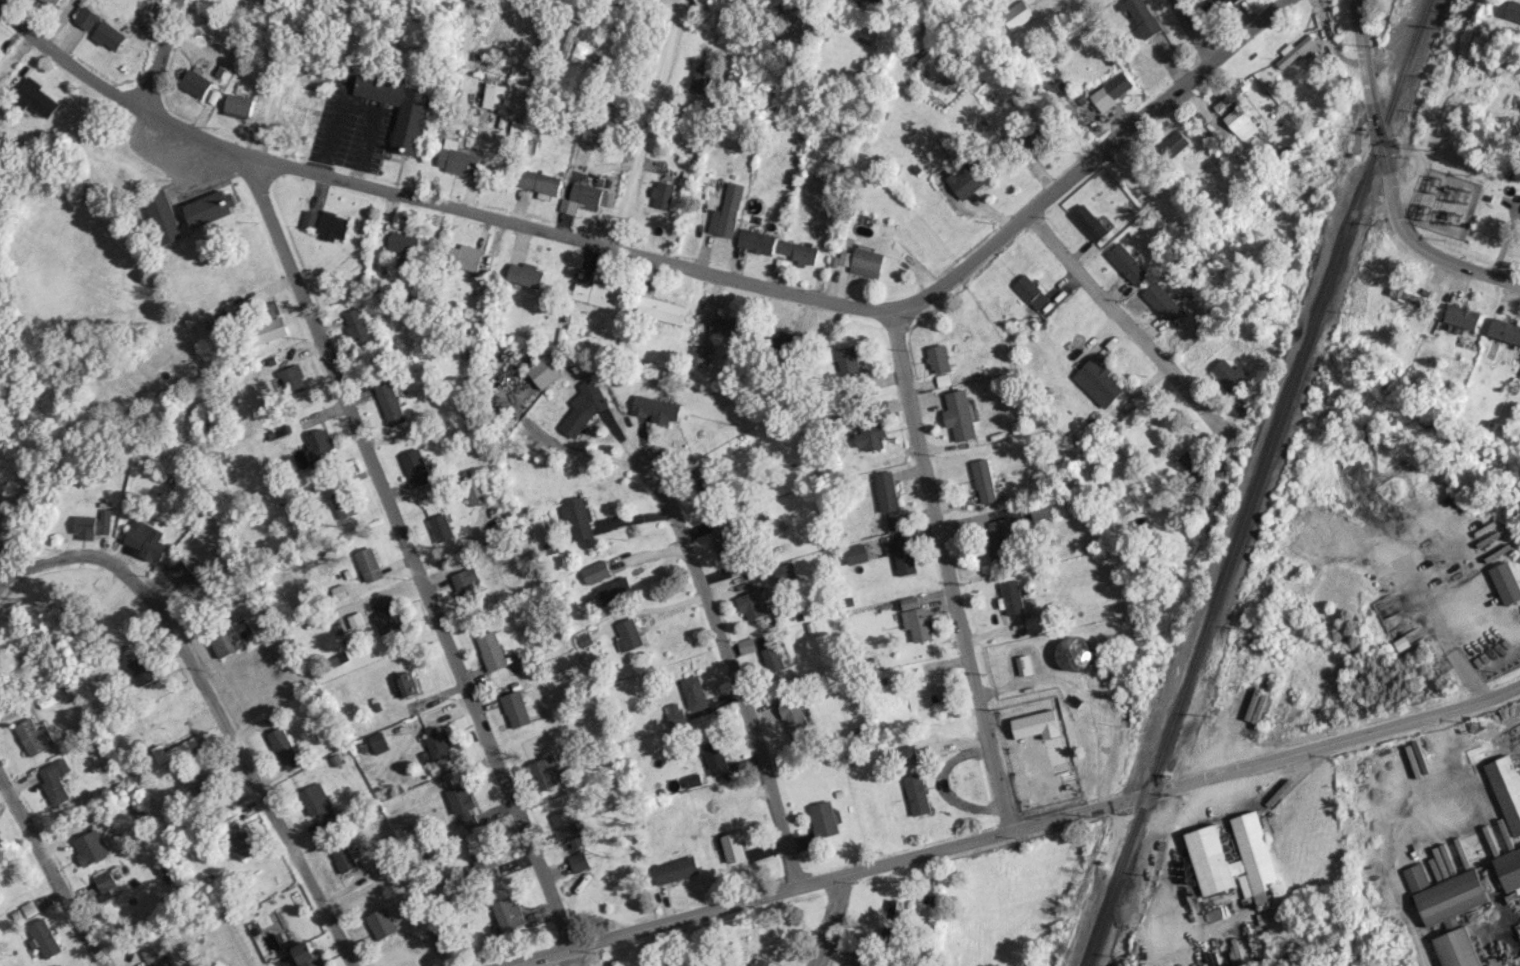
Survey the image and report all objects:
building: (877, 0)
building: (52, 2)
building: (1214, 6)
building: (1513, 10)
building: (1017, 15)
building: (1141, 16)
building: (87, 17)
road: (1193, 30)
building: (109, 35)
building: (1298, 51)
building: (578, 53)
road: (160, 56)
building: (224, 56)
road: (1365, 68)
building: (701, 79)
building: (195, 82)
building: (311, 83)
building: (1111, 91)
building: (1230, 94)
road: (118, 95)
building: (494, 96)
building: (38, 98)
building: (238, 105)
building: (398, 108)
building: (289, 117)
building: (1240, 122)
road: (645, 124)
building: (1038, 138)
building: (1174, 143)
building: (457, 158)
building: (969, 177)
building: (539, 181)
building: (663, 194)
building: (582, 197)
building: (210, 207)
building: (727, 211)
building: (164, 216)
building: (309, 218)
building: (1089, 222)
building: (333, 225)
building: (757, 240)
building: (402, 242)
road: (1414, 243)
building: (799, 252)
building: (464, 255)
building: (845, 257)
building: (867, 262)
building: (1127, 263)
building: (527, 274)
building: (1029, 291)
building: (596, 293)
road: (814, 296)
building: (1160, 299)
building: (1415, 299)
building: (662, 309)
road: (1108, 311)
building: (1462, 316)
building: (727, 325)
building: (270, 329)
building: (361, 329)
building: (1504, 331)
building: (788, 340)
building: (700, 354)
building: (939, 358)
building: (848, 361)
building: (544, 371)
building: (1228, 373)
building: (293, 378)
building: (1097, 382)
building: (389, 402)
building: (587, 404)
building: (1239, 408)
building: (656, 409)
building: (960, 415)
building: (871, 435)
building: (320, 445)
building: (1192, 465)
building: (417, 467)
building: (703, 480)
building: (984, 480)
railway: (1256, 482)
building: (476, 491)
building: (886, 491)
building: (342, 500)
building: (1043, 509)
building: (577, 517)
building: (92, 524)
building: (441, 527)
building: (147, 535)
building: (1000, 538)
building: (726, 541)
road: (410, 552)
building: (856, 553)
building: (902, 555)
building: (369, 563)
building: (595, 571)
road: (951, 571)
building: (180, 572)
building: (785, 572)
building: (466, 582)
building: (1505, 582)
building: (613, 590)
building: (764, 593)
building: (749, 604)
building: (388, 615)
building: (915, 618)
building: (357, 620)
building: (1036, 622)
road: (1442, 631)
building: (628, 634)
building: (232, 637)
building: (492, 650)
building: (1075, 652)
building: (776, 657)
building: (340, 658)
building: (1023, 664)
building: (142, 669)
road: (727, 670)
building: (407, 684)
building: (930, 688)
road: (213, 706)
building: (517, 708)
building: (795, 719)
building: (1036, 724)
building: (34, 736)
building: (379, 742)
building: (438, 742)
building: (284, 748)
building: (177, 749)
building: (907, 755)
building: (715, 756)
building: (545, 772)
building: (54, 779)
building: (692, 780)
building: (210, 785)
building: (1506, 789)
building: (916, 793)
building: (318, 803)
building: (464, 805)
building: (823, 818)
building: (568, 827)
road: (1015, 829)
building: (240, 836)
building: (91, 847)
building: (733, 847)
building: (343, 857)
building: (484, 857)
building: (1253, 860)
building: (580, 861)
building: (1509, 868)
building: (675, 869)
road: (50, 870)
building: (105, 882)
building: (1444, 895)
building: (510, 913)
road: (828, 921)
building: (382, 923)
building: (439, 935)
building: (44, 937)
building: (1456, 948)
building: (149, 953)
building: (307, 954)
road: (573, 957)
building: (759, 962)
building: (849, 964)
building: (162, 965)
building: (740, 965)

